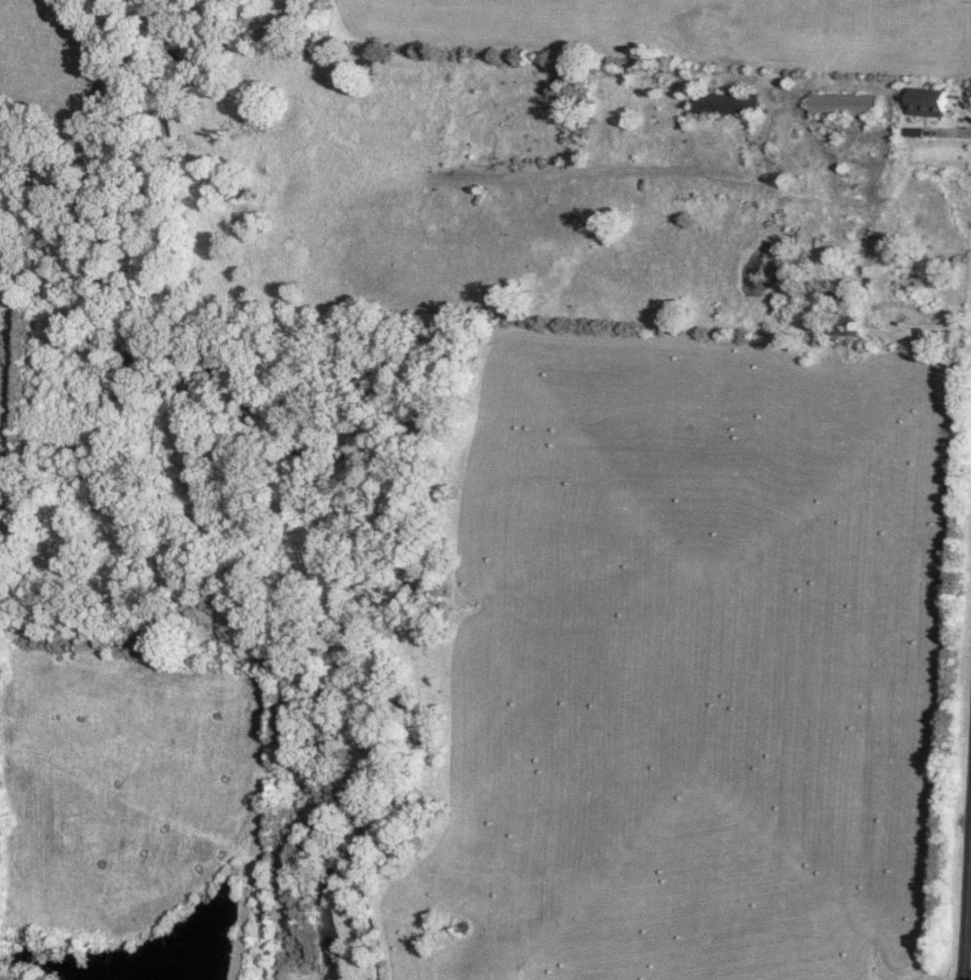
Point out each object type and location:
building: (923, 103)
building: (724, 104)
building: (843, 105)
road: (769, 186)
road: (877, 224)
building: (905, 286)
road: (968, 939)

